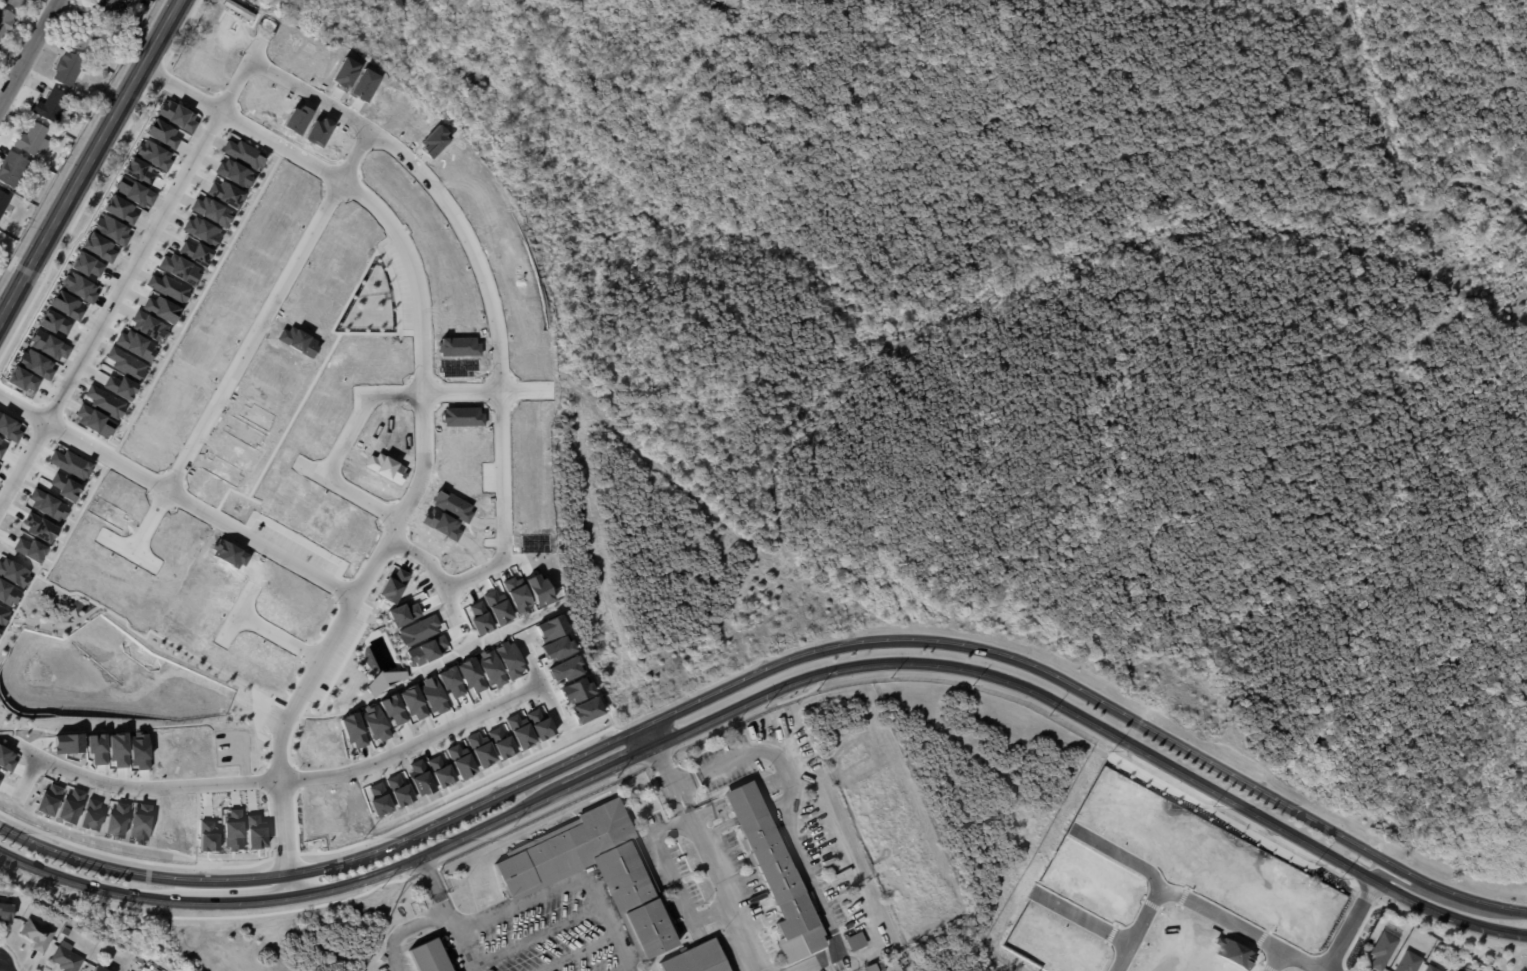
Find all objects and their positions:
building: (14, 2)
building: (106, 6)
building: (240, 7)
building: (5, 21)
building: (90, 35)
road: (29, 52)
building: (69, 68)
building: (104, 72)
building: (346, 73)
building: (365, 84)
building: (55, 104)
building: (176, 115)
building: (298, 120)
road: (108, 126)
building: (318, 131)
building: (161, 132)
building: (33, 138)
building: (436, 139)
building: (243, 153)
building: (152, 154)
road: (276, 155)
building: (14, 170)
road: (1396, 170)
building: (138, 171)
building: (233, 172)
building: (465, 172)
building: (294, 181)
building: (133, 191)
building: (225, 193)
road: (346, 198)
building: (3, 201)
building: (119, 209)
building: (211, 211)
building: (111, 229)
building: (202, 231)
building: (498, 231)
building: (98, 246)
building: (195, 252)
road: (382, 252)
building: (508, 252)
building: (85, 264)
road: (133, 267)
building: (179, 268)
road: (24, 279)
parking lot: (401, 285)
building: (78, 286)
building: (168, 287)
road: (488, 287)
road: (197, 303)
building: (452, 303)
building: (65, 304)
building: (160, 308)
road: (5, 314)
road: (338, 318)
building: (53, 322)
building: (148, 325)
road: (252, 341)
building: (299, 341)
building: (48, 344)
building: (135, 344)
building: (459, 346)
building: (35, 363)
building: (126, 363)
building: (532, 365)
building: (459, 366)
building: (186, 371)
building: (21, 379)
building: (120, 386)
road: (413, 392)
building: (266, 395)
building: (104, 401)
building: (165, 410)
building: (533, 414)
road: (294, 415)
road: (423, 415)
road: (17, 416)
road: (63, 416)
building: (257, 416)
building: (462, 416)
building: (93, 420)
building: (9, 427)
building: (153, 430)
building: (244, 431)
building: (462, 437)
building: (142, 447)
building: (1, 448)
road: (112, 448)
building: (233, 451)
building: (69, 463)
road: (101, 464)
building: (387, 468)
building: (222, 470)
parking lot: (488, 476)
building: (63, 486)
building: (211, 486)
road: (348, 490)
road: (235, 491)
road: (178, 495)
building: (46, 503)
building: (451, 504)
road: (171, 507)
building: (107, 511)
road: (388, 514)
building: (323, 520)
road: (74, 523)
road: (485, 523)
road: (273, 524)
building: (440, 524)
building: (38, 526)
building: (430, 539)
building: (536, 542)
building: (28, 548)
road: (475, 549)
road: (128, 550)
building: (229, 553)
road: (369, 553)
building: (65, 559)
road: (459, 559)
road: (522, 559)
road: (408, 561)
road: (259, 568)
road: (435, 571)
building: (12, 572)
road: (504, 572)
building: (86, 574)
parking lot: (424, 581)
road: (483, 583)
building: (392, 585)
road: (343, 588)
building: (540, 590)
road: (469, 592)
building: (7, 593)
building: (518, 595)
road: (432, 601)
building: (498, 606)
road: (72, 607)
road: (364, 611)
road: (237, 613)
building: (402, 613)
building: (2, 615)
road: (370, 615)
road: (445, 615)
building: (481, 618)
road: (331, 622)
road: (502, 627)
building: (552, 627)
road: (58, 629)
building: (417, 630)
building: (176, 633)
road: (456, 633)
road: (525, 635)
road: (279, 636)
building: (558, 647)
building: (426, 650)
road: (309, 653)
parking lot: (340, 653)
building: (236, 657)
building: (508, 659)
road: (344, 663)
road: (771, 667)
building: (490, 668)
building: (568, 669)
building: (470, 674)
building: (392, 675)
road: (231, 676)
building: (388, 681)
building: (449, 681)
road: (541, 681)
building: (376, 684)
road: (396, 687)
building: (578, 689)
road: (771, 691)
building: (432, 695)
building: (412, 701)
building: (392, 708)
road: (267, 709)
building: (588, 709)
road: (322, 712)
parking lot: (271, 719)
road: (254, 722)
building: (374, 722)
road: (565, 722)
building: (538, 724)
road: (13, 729)
building: (353, 729)
building: (519, 730)
road: (620, 731)
road: (9, 734)
road: (650, 735)
building: (309, 741)
road: (40, 742)
building: (500, 742)
building: (68, 743)
building: (96, 748)
building: (118, 748)
building: (479, 749)
building: (139, 750)
road: (1128, 750)
building: (5, 758)
building: (460, 761)
road: (21, 770)
building: (439, 771)
road: (28, 776)
road: (121, 776)
road: (60, 777)
road: (143, 778)
building: (419, 778)
road: (282, 780)
road: (99, 782)
road: (80, 783)
road: (294, 789)
building: (398, 790)
road: (9, 791)
road: (123, 795)
road: (145, 796)
road: (233, 796)
road: (251, 798)
building: (47, 799)
building: (378, 799)
road: (457, 800)
road: (205, 802)
building: (69, 805)
building: (356, 807)
building: (332, 813)
building: (1129, 813)
building: (90, 815)
road: (1235, 818)
building: (115, 819)
road: (295, 820)
road: (786, 820)
building: (139, 822)
road: (268, 825)
building: (231, 830)
building: (254, 832)
building: (206, 836)
road: (1379, 845)
road: (1124, 853)
road: (1375, 853)
road: (284, 855)
road: (270, 858)
road: (707, 858)
building: (773, 858)
road: (1360, 860)
road: (1346, 863)
building: (1063, 864)
road: (1340, 872)
building: (534, 875)
road: (673, 880)
road: (291, 886)
road: (558, 887)
road: (1412, 887)
road: (231, 891)
road: (1368, 894)
road: (1379, 900)
building: (6, 910)
road: (1082, 917)
road: (430, 918)
road: (1350, 925)
road: (1452, 927)
road: (1243, 928)
building: (66, 931)
road: (1139, 932)
building: (37, 933)
road: (1358, 933)
road: (1263, 938)
building: (857, 941)
road: (1248, 941)
road: (463, 944)
building: (1385, 949)
building: (1235, 953)
building: (431, 956)
building: (67, 957)
building: (699, 958)
building: (139, 960)
road: (1278, 960)
building: (1410, 961)
building: (872, 967)
road: (1270, 967)
building: (100, 968)
building: (649, 968)
building: (1433, 968)
road: (0, 970)
building: (1457, 970)

